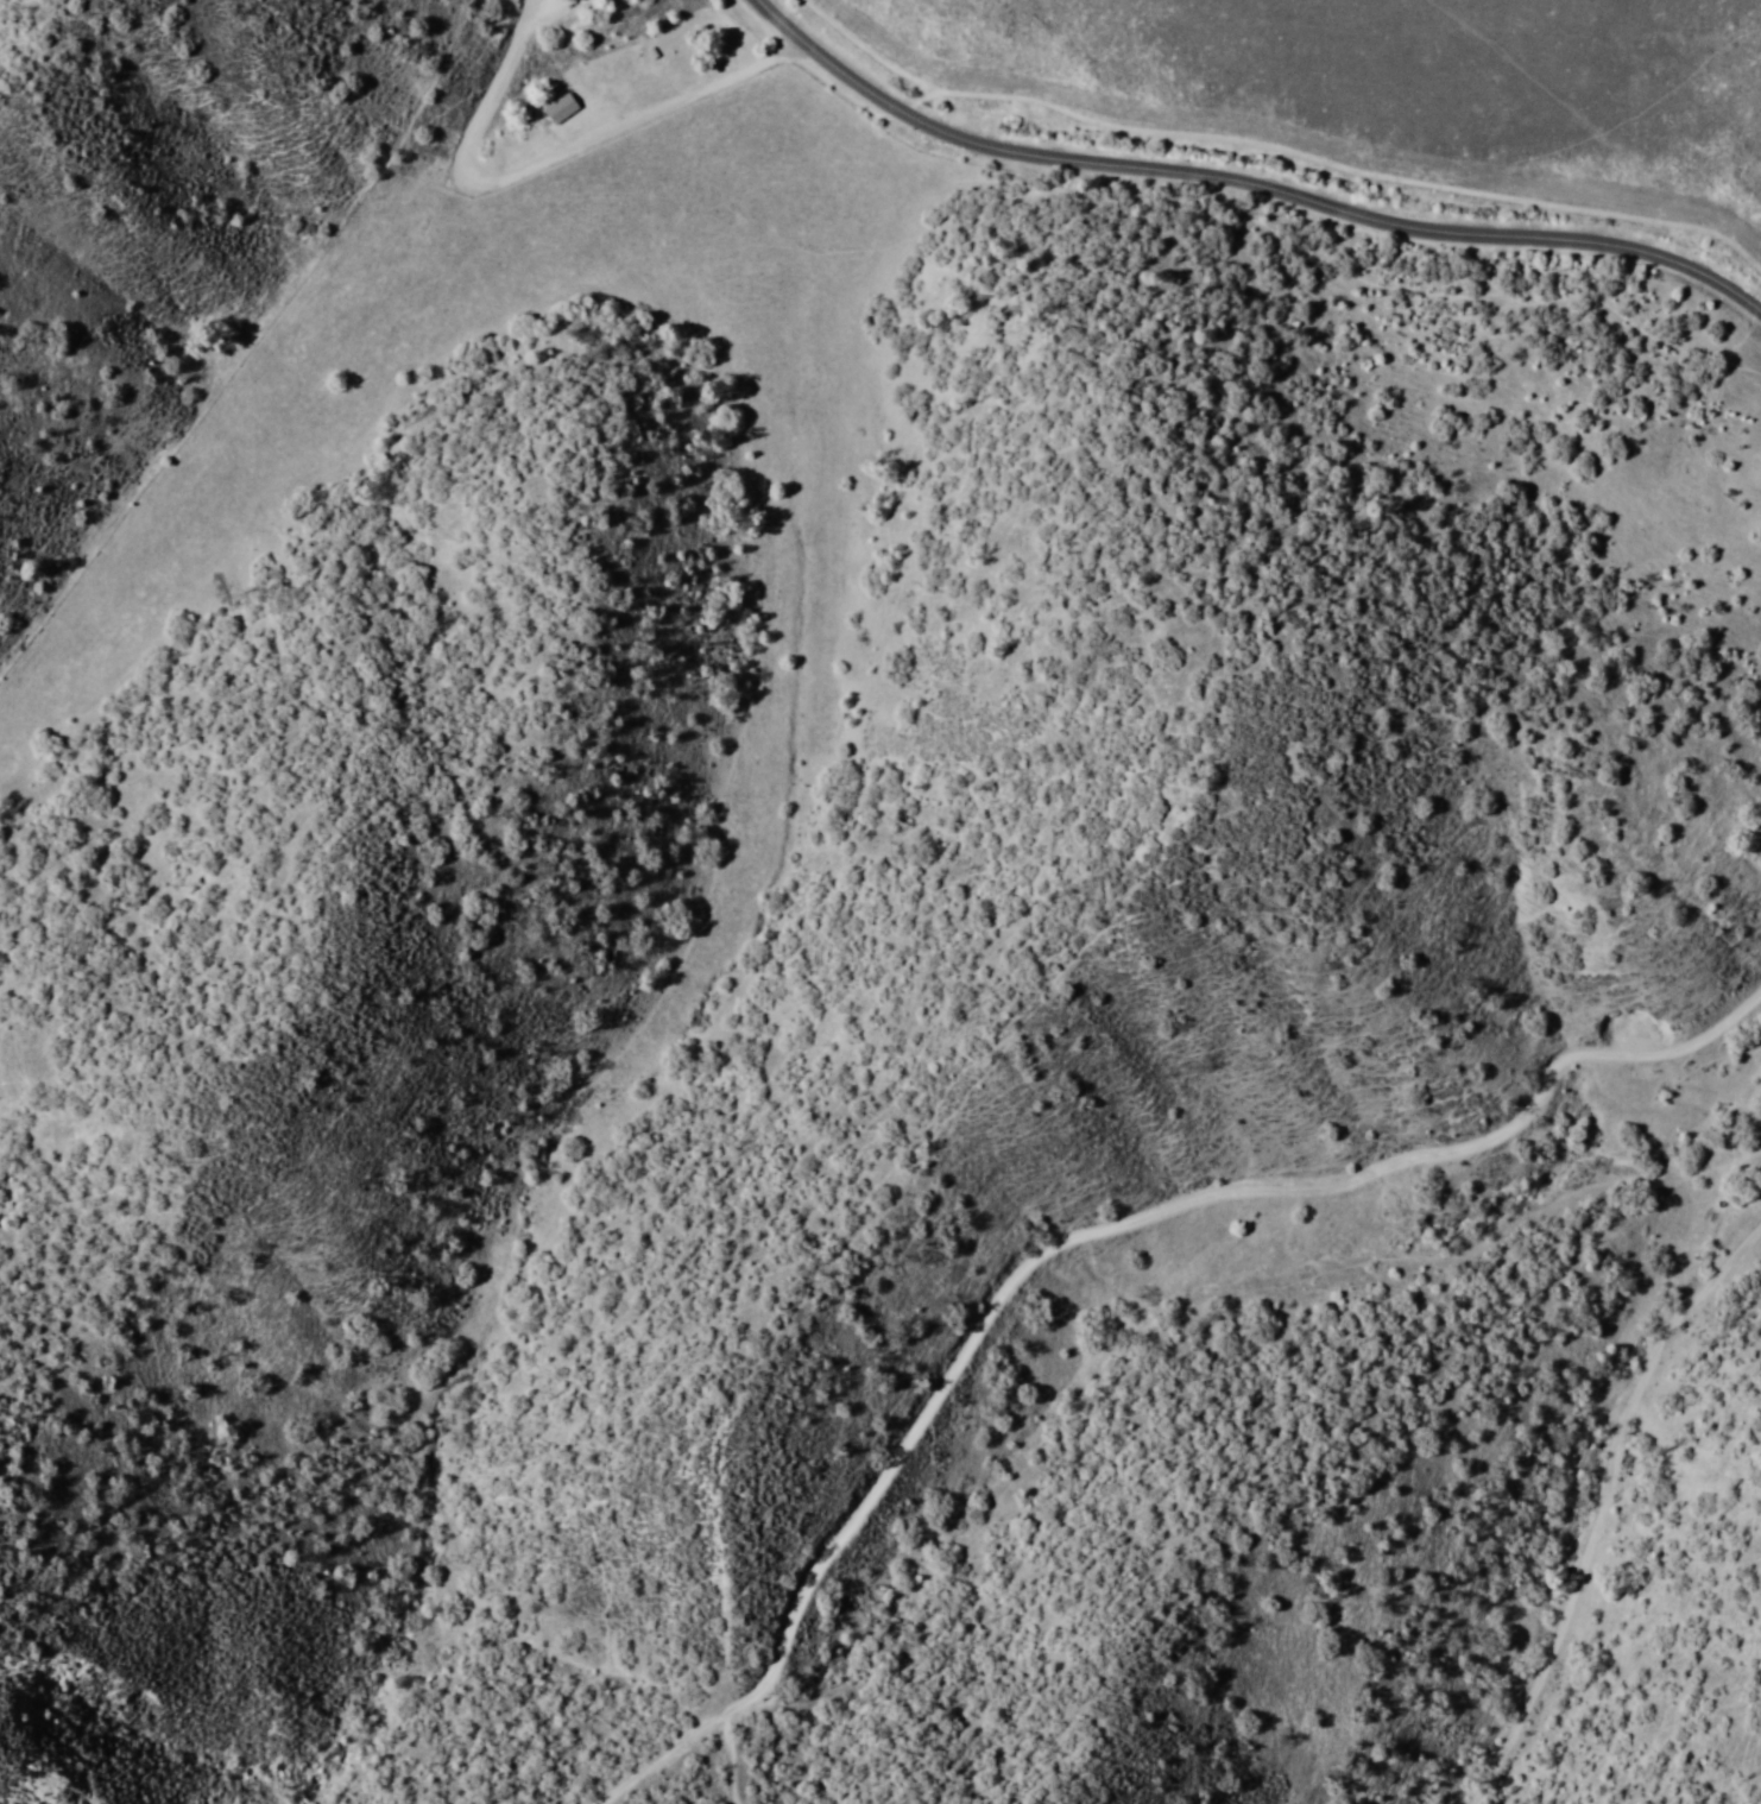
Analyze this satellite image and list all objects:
crop: (1399, 82)
building: (556, 109)
road: (1250, 171)
road: (1065, 1234)

